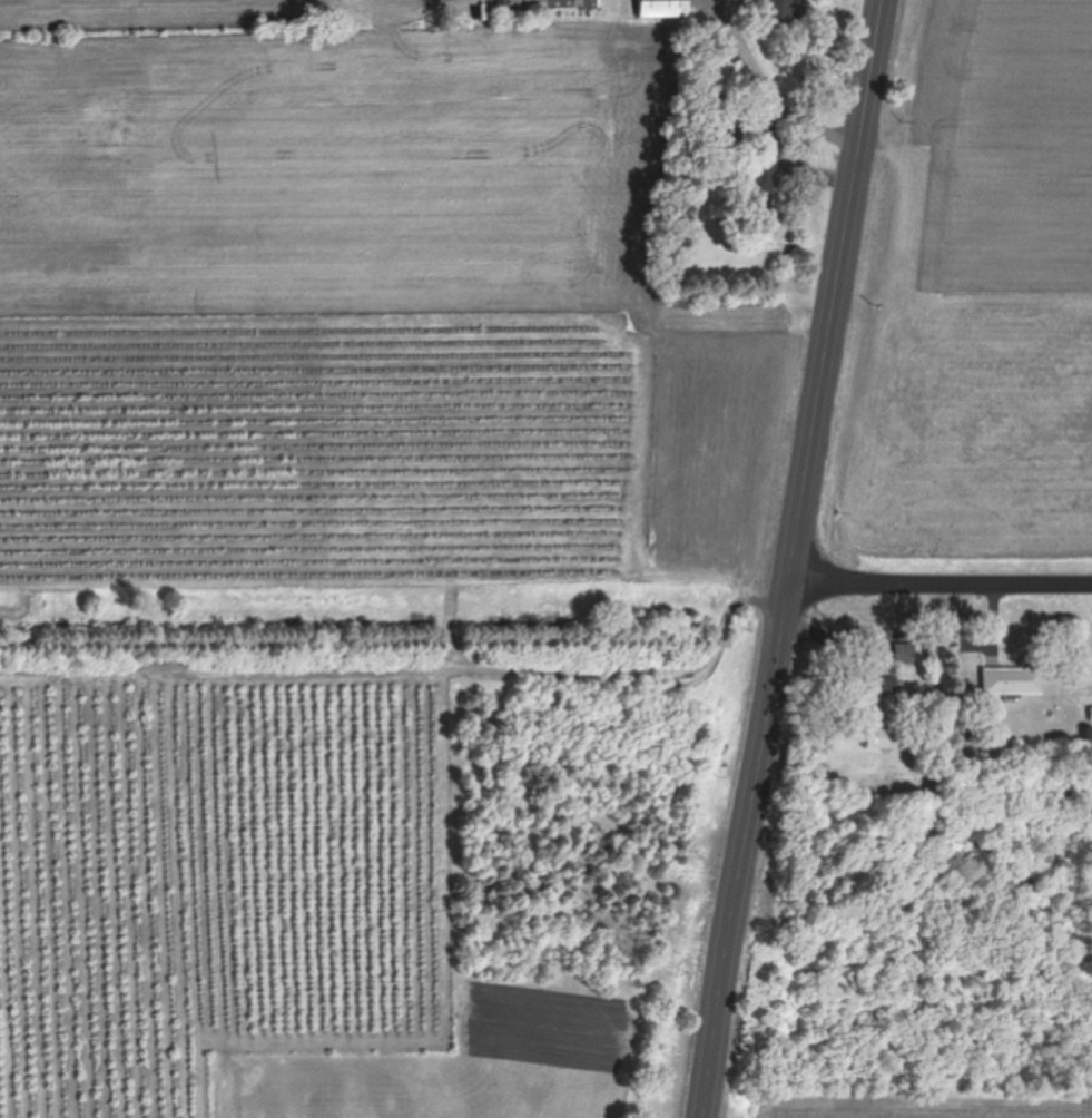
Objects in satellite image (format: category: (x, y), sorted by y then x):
building: (663, 8)
building: (787, 11)
road: (770, 95)
building: (759, 185)
road: (796, 559)
road: (943, 577)
building: (904, 651)
building: (882, 677)
building: (1013, 679)
building: (882, 736)

